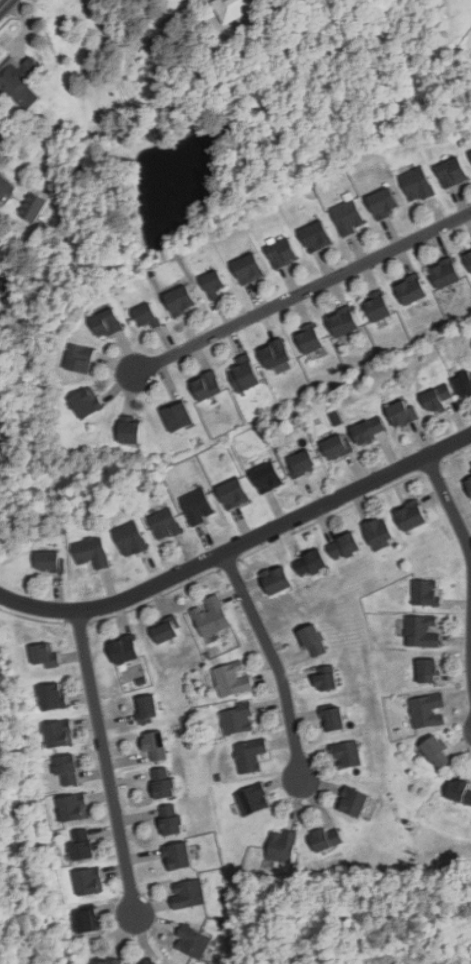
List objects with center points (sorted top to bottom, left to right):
road: (4, 4)
building: (235, 7)
building: (19, 81)
building: (469, 155)
building: (452, 172)
road: (1, 176)
building: (416, 184)
building: (383, 203)
building: (33, 208)
building: (349, 218)
building: (317, 237)
building: (283, 254)
building: (468, 257)
building: (249, 269)
building: (445, 274)
building: (213, 282)
building: (412, 290)
road: (303, 293)
building: (180, 300)
building: (378, 308)
building: (147, 316)
building: (108, 323)
building: (344, 323)
building: (310, 340)
building: (276, 354)
building: (80, 359)
building: (251, 374)
building: (208, 386)
building: (464, 386)
building: (437, 398)
building: (87, 403)
building: (405, 414)
building: (179, 417)
building: (333, 418)
building: (132, 430)
building: (370, 431)
building: (338, 446)
building: (302, 462)
building: (470, 471)
building: (267, 477)
building: (469, 484)
building: (234, 493)
road: (449, 505)
building: (199, 506)
building: (411, 516)
building: (165, 523)
building: (380, 533)
building: (131, 539)
road: (239, 546)
building: (346, 546)
building: (92, 552)
building: (50, 561)
building: (313, 562)
building: (277, 580)
building: (426, 592)
building: (213, 619)
building: (167, 630)
building: (423, 631)
building: (314, 642)
building: (125, 649)
building: (45, 654)
road: (274, 662)
building: (428, 671)
building: (326, 678)
building: (233, 679)
building: (52, 695)
building: (148, 705)
building: (427, 710)
building: (334, 718)
building: (238, 719)
building: (60, 733)
building: (155, 744)
building: (347, 753)
building: (437, 753)
building: (250, 754)
road: (106, 764)
building: (68, 768)
building: (163, 782)
building: (460, 792)
building: (253, 798)
building: (354, 801)
building: (74, 807)
building: (170, 819)
building: (326, 838)
building: (82, 844)
building: (282, 846)
building: (178, 856)
building: (89, 881)
building: (188, 894)
building: (86, 921)
building: (192, 942)
building: (107, 960)
building: (143, 962)

